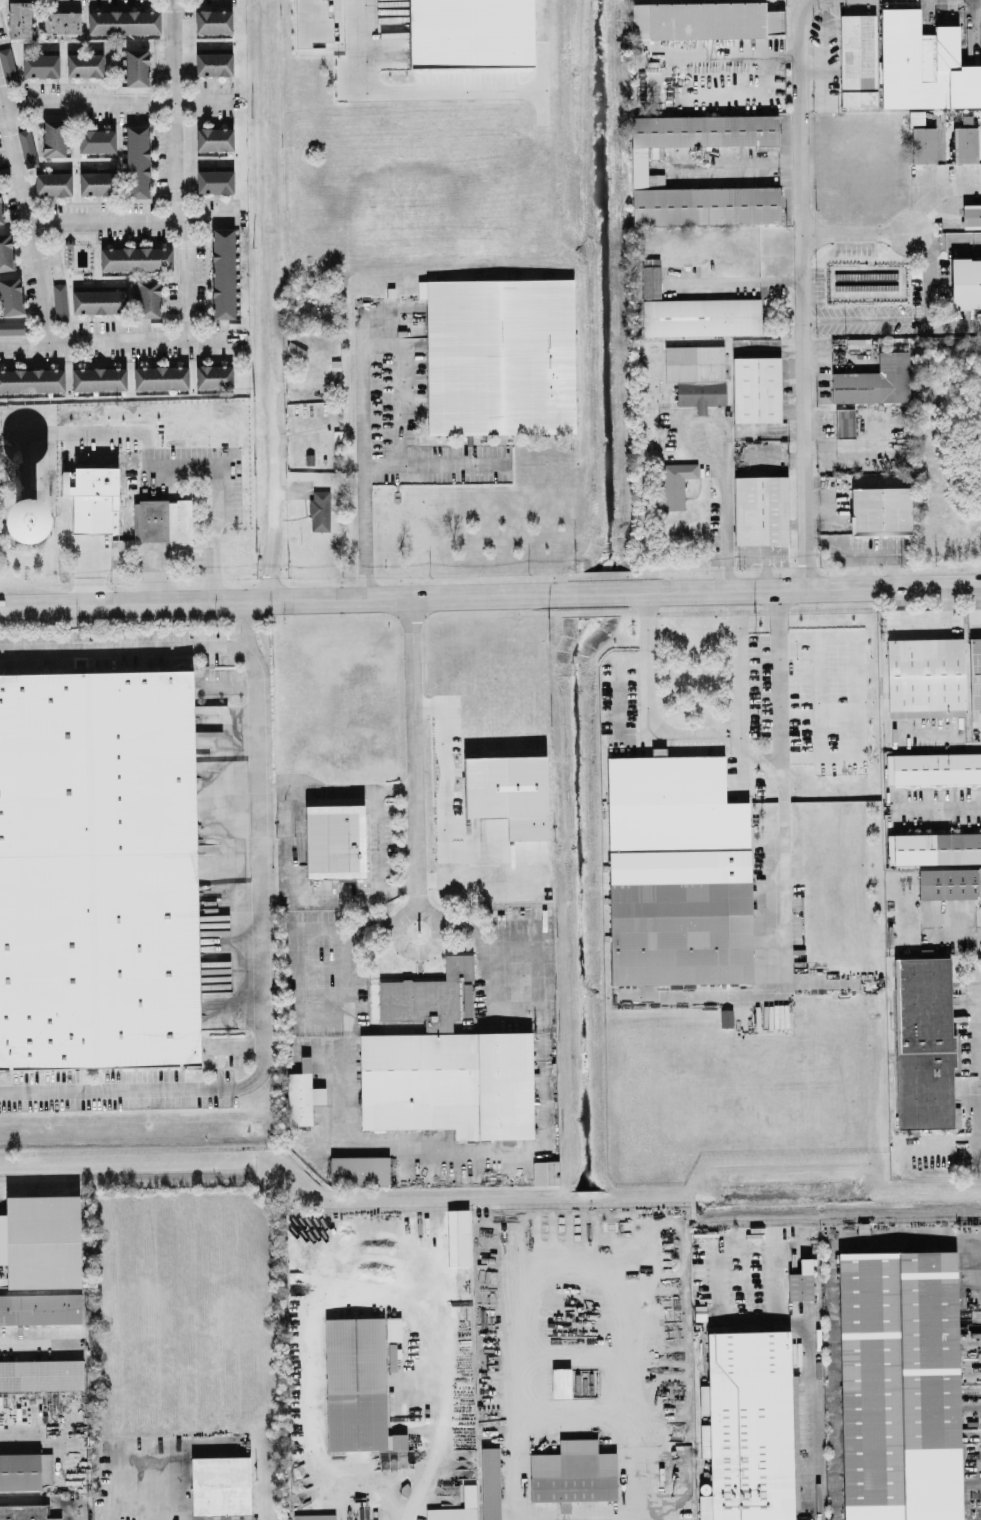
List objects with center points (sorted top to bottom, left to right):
building: (19, 18)
building: (705, 19)
building: (213, 20)
building: (61, 21)
building: (123, 21)
building: (469, 32)
building: (857, 59)
building: (7, 63)
building: (84, 63)
building: (213, 63)
building: (923, 63)
building: (40, 64)
building: (136, 66)
road: (400, 90)
road: (115, 101)
road: (173, 109)
building: (53, 137)
building: (214, 138)
building: (921, 138)
building: (96, 139)
building: (965, 143)
building: (27, 146)
building: (638, 158)
building: (137, 160)
building: (214, 180)
building: (52, 182)
building: (96, 182)
building: (0, 213)
road: (26, 214)
building: (971, 214)
road: (130, 219)
road: (946, 237)
road: (976, 237)
road: (861, 238)
building: (6, 251)
building: (136, 257)
building: (222, 272)
road: (931, 275)
building: (650, 276)
road: (186, 278)
road: (736, 280)
building: (965, 282)
road: (803, 293)
building: (10, 295)
building: (147, 297)
building: (59, 300)
building: (99, 300)
building: (701, 315)
road: (868, 317)
road: (953, 325)
building: (13, 326)
road: (120, 338)
building: (499, 355)
building: (696, 374)
building: (213, 375)
building: (161, 376)
building: (98, 378)
building: (32, 379)
building: (874, 380)
building: (756, 388)
building: (844, 421)
road: (27, 430)
road: (371, 447)
road: (274, 478)
building: (676, 482)
building: (94, 502)
building: (760, 508)
building: (319, 509)
building: (879, 509)
building: (113, 516)
building: (164, 518)
road: (221, 520)
road: (723, 524)
road: (852, 551)
road: (866, 570)
road: (893, 570)
road: (490, 594)
road: (124, 644)
building: (975, 671)
building: (925, 676)
road: (697, 733)
road: (964, 743)
road: (412, 753)
building: (933, 767)
road: (780, 776)
building: (508, 792)
building: (671, 805)
road: (940, 805)
road: (376, 835)
building: (334, 840)
road: (292, 843)
building: (933, 847)
building: (100, 868)
building: (950, 882)
road: (418, 911)
road: (344, 932)
building: (678, 932)
road: (485, 949)
road: (259, 964)
road: (347, 973)
building: (427, 991)
road: (975, 1026)
building: (924, 1041)
building: (305, 1062)
building: (448, 1082)
building: (301, 1097)
building: (359, 1170)
building: (545, 1171)
building: (43, 1241)
building: (462, 1243)
building: (800, 1280)
road: (831, 1307)
building: (40, 1308)
road: (40, 1340)
building: (41, 1375)
building: (360, 1381)
building: (560, 1382)
building: (899, 1385)
road: (820, 1421)
building: (748, 1426)
road: (47, 1441)
building: (23, 1470)
building: (573, 1472)
road: (102, 1482)
building: (490, 1483)
building: (220, 1487)
road: (43, 1500)
building: (456, 1507)
building: (22, 1513)
building: (314, 1516)

